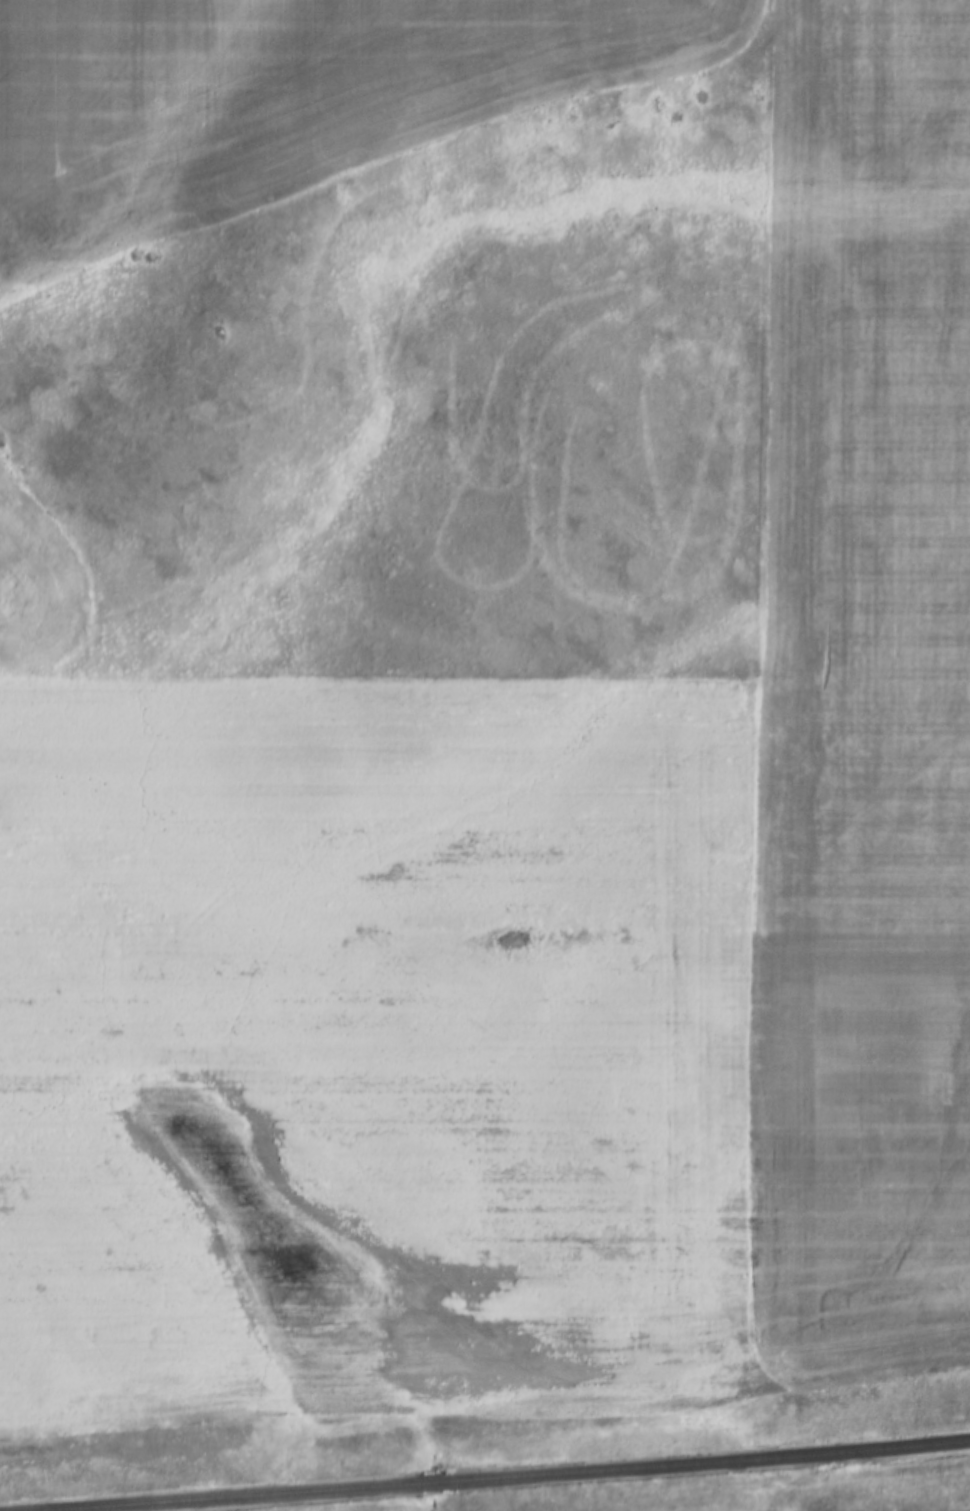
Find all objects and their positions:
railway: (485, 1475)

